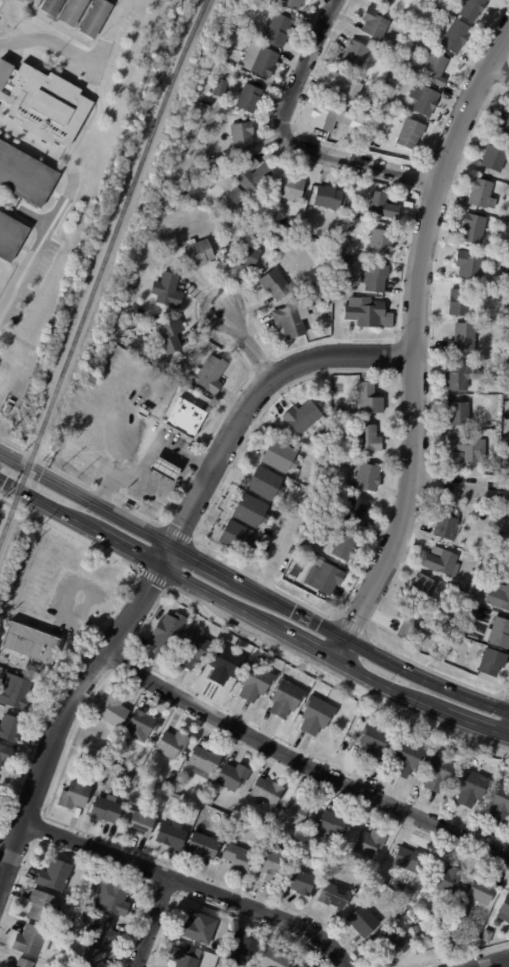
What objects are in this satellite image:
building: (26, 1)
building: (386, 2)
building: (291, 4)
building: (51, 7)
building: (471, 9)
building: (72, 12)
building: (92, 18)
building: (374, 24)
building: (277, 30)
building: (456, 37)
road: (49, 43)
building: (410, 51)
building: (354, 54)
building: (263, 63)
building: (397, 63)
building: (434, 70)
road: (498, 70)
building: (396, 76)
building: (406, 79)
building: (218, 89)
building: (346, 89)
building: (385, 95)
building: (372, 96)
building: (248, 99)
building: (424, 102)
building: (202, 106)
building: (47, 107)
building: (325, 118)
building: (503, 126)
building: (370, 133)
building: (410, 135)
building: (241, 140)
road: (288, 141)
building: (494, 157)
building: (212, 166)
building: (24, 175)
building: (251, 176)
road: (403, 186)
building: (273, 188)
building: (291, 190)
building: (482, 193)
building: (236, 196)
building: (327, 198)
building: (408, 205)
building: (381, 209)
building: (226, 225)
building: (473, 227)
building: (10, 237)
building: (380, 242)
road: (36, 244)
building: (158, 244)
building: (507, 248)
building: (198, 254)
building: (246, 256)
building: (341, 262)
building: (468, 265)
railway: (101, 267)
building: (374, 278)
building: (502, 284)
building: (275, 286)
building: (167, 292)
building: (458, 302)
building: (327, 303)
building: (368, 315)
building: (290, 321)
building: (170, 336)
building: (462, 339)
road: (247, 343)
road: (416, 343)
building: (133, 350)
building: (143, 357)
road: (260, 362)
building: (181, 366)
building: (208, 376)
building: (457, 377)
building: (368, 399)
building: (7, 407)
road: (224, 409)
building: (458, 411)
building: (339, 414)
building: (184, 418)
building: (304, 419)
building: (495, 424)
building: (324, 433)
building: (368, 438)
building: (467, 450)
building: (506, 455)
building: (279, 456)
road: (147, 458)
road: (195, 463)
building: (347, 463)
building: (163, 472)
building: (366, 478)
building: (331, 482)
building: (265, 483)
road: (460, 485)
road: (169, 490)
road: (178, 497)
building: (250, 511)
building: (357, 511)
building: (446, 525)
building: (499, 535)
building: (236, 537)
building: (344, 546)
road: (171, 547)
road: (162, 559)
building: (442, 562)
building: (289, 575)
building: (327, 579)
building: (422, 588)
road: (63, 596)
building: (499, 596)
building: (471, 597)
building: (475, 614)
road: (251, 615)
building: (408, 622)
building: (167, 631)
building: (498, 634)
building: (31, 642)
building: (192, 648)
building: (491, 662)
building: (224, 663)
road: (425, 680)
building: (254, 681)
building: (17, 691)
building: (285, 697)
building: (113, 710)
building: (316, 714)
building: (139, 725)
building: (11, 728)
building: (373, 742)
building: (171, 743)
building: (93, 749)
building: (4, 751)
building: (103, 752)
building: (82, 757)
building: (112, 757)
building: (406, 757)
building: (203, 760)
road: (302, 762)
building: (438, 771)
building: (232, 775)
building: (170, 776)
building: (128, 777)
building: (207, 778)
building: (471, 787)
building: (266, 790)
building: (74, 795)
building: (499, 802)
building: (105, 808)
building: (298, 810)
building: (140, 823)
building: (332, 824)
building: (171, 835)
building: (369, 843)
building: (202, 845)
building: (237, 857)
building: (407, 859)
building: (269, 863)
building: (54, 875)
building: (446, 878)
building: (299, 881)
road: (192, 884)
building: (480, 891)
building: (334, 895)
building: (111, 896)
building: (43, 906)
building: (504, 909)
building: (440, 915)
building: (455, 917)
building: (362, 920)
road: (152, 921)
building: (198, 928)
building: (104, 930)
building: (486, 936)
building: (31, 940)
building: (392, 944)
building: (240, 950)
building: (91, 958)
building: (183, 958)
building: (274, 959)
building: (23, 963)
road: (495, 963)
building: (301, 965)
building: (8, 966)
building: (303, 966)

